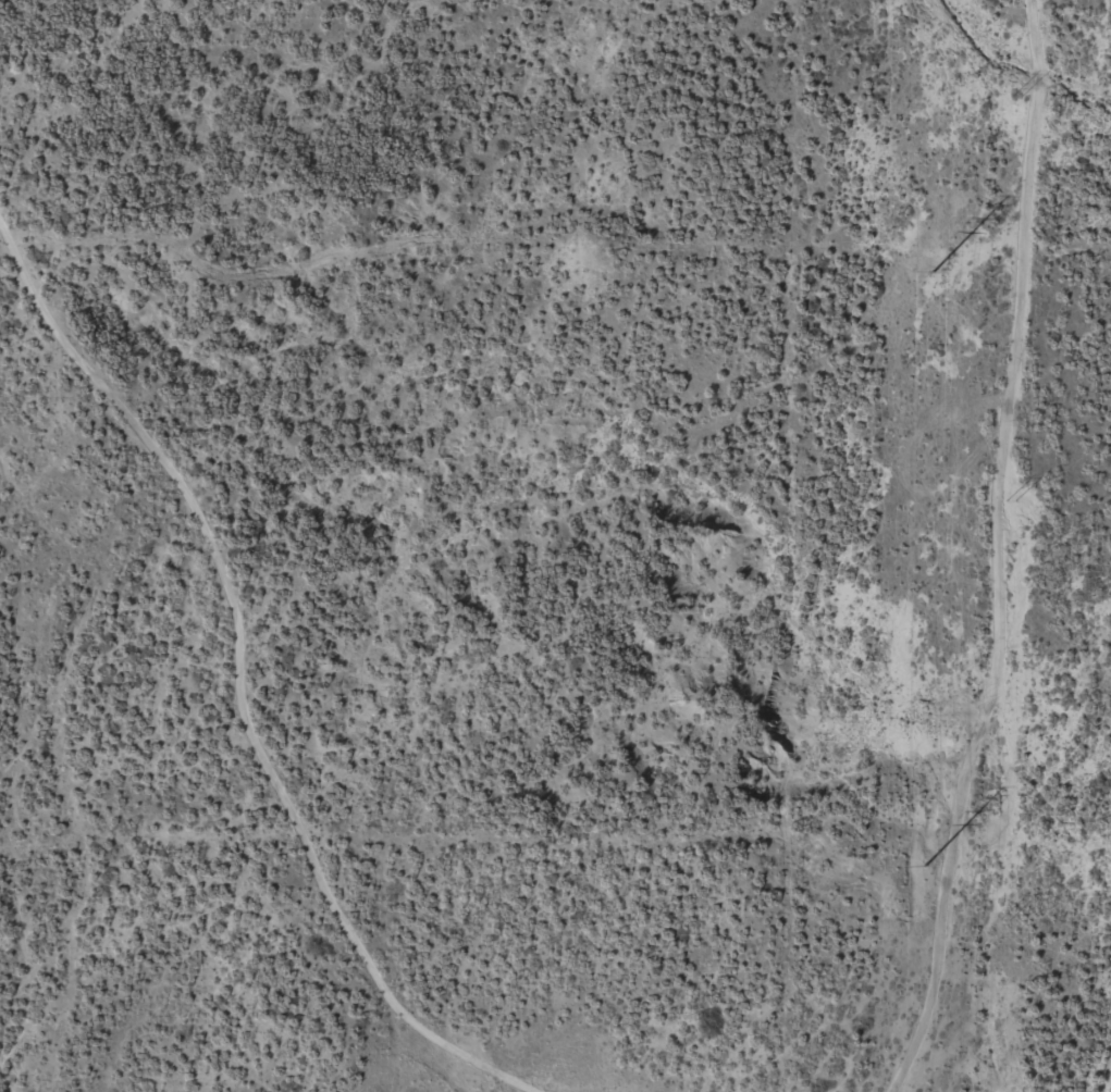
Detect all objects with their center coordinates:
power tower: (1015, 100)
power tower: (933, 271)
power tower: (1010, 498)
road: (221, 716)
power tower: (925, 866)
power tower: (1004, 918)

